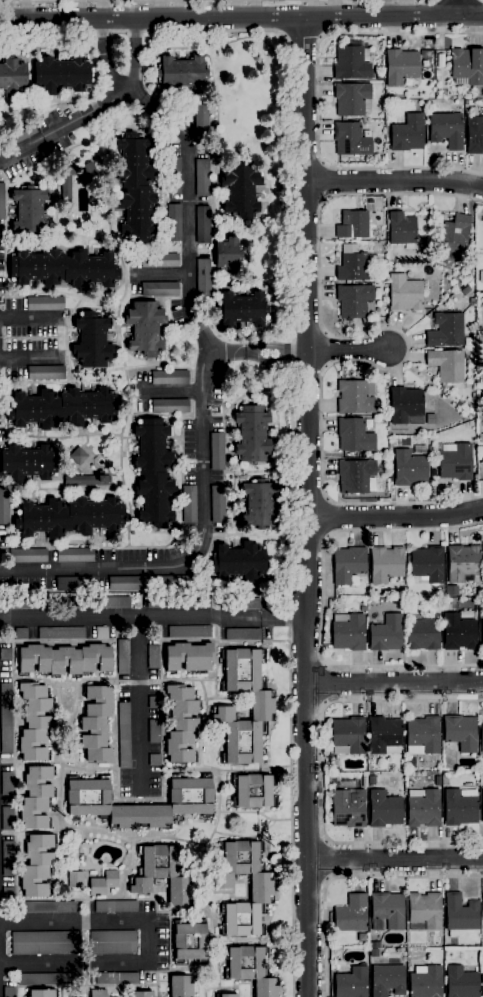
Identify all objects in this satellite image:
road: (160, 0)
road: (458, 7)
road: (241, 17)
road: (303, 43)
road: (68, 49)
road: (109, 58)
road: (135, 58)
building: (351, 64)
building: (401, 66)
building: (467, 66)
road: (145, 69)
building: (181, 73)
building: (437, 73)
road: (31, 75)
building: (61, 75)
building: (13, 77)
building: (380, 77)
road: (121, 97)
building: (352, 99)
road: (316, 100)
road: (62, 102)
building: (467, 102)
building: (201, 119)
building: (446, 130)
road: (50, 133)
building: (17, 134)
building: (407, 134)
building: (474, 135)
building: (71, 137)
building: (351, 140)
road: (76, 145)
road: (304, 159)
building: (89, 172)
building: (173, 176)
building: (202, 178)
road: (394, 181)
road: (327, 182)
building: (66, 184)
road: (54, 186)
building: (135, 187)
building: (241, 190)
road: (307, 198)
building: (2, 201)
building: (29, 211)
road: (106, 211)
building: (174, 223)
building: (202, 225)
building: (353, 225)
building: (482, 225)
road: (245, 229)
building: (401, 229)
building: (453, 235)
road: (146, 250)
building: (228, 255)
building: (159, 260)
building: (353, 267)
building: (465, 268)
building: (64, 269)
building: (480, 276)
building: (203, 277)
building: (160, 289)
building: (465, 291)
building: (404, 293)
road: (85, 297)
building: (353, 301)
building: (45, 304)
building: (241, 309)
road: (26, 318)
building: (145, 328)
building: (446, 330)
road: (225, 334)
building: (92, 341)
road: (407, 347)
road: (347, 350)
road: (232, 351)
road: (284, 351)
road: (202, 352)
road: (27, 357)
building: (446, 365)
building: (345, 371)
road: (69, 372)
building: (46, 373)
road: (293, 373)
building: (170, 377)
road: (125, 396)
building: (355, 397)
road: (236, 402)
building: (405, 404)
building: (170, 406)
building: (61, 408)
building: (471, 410)
building: (252, 434)
building: (354, 435)
road: (71, 437)
building: (481, 439)
road: (225, 443)
building: (217, 451)
building: (78, 456)
building: (455, 462)
building: (28, 463)
building: (409, 469)
road: (241, 471)
building: (153, 473)
building: (356, 476)
building: (87, 480)
road: (88, 490)
road: (310, 499)
building: (189, 504)
building: (217, 504)
building: (259, 504)
building: (4, 506)
road: (310, 507)
road: (284, 514)
road: (332, 516)
building: (69, 517)
road: (396, 517)
road: (233, 520)
road: (128, 527)
road: (256, 535)
road: (309, 541)
building: (74, 555)
building: (28, 556)
building: (238, 562)
building: (462, 563)
building: (348, 564)
building: (386, 564)
building: (427, 564)
road: (63, 566)
building: (126, 583)
building: (173, 583)
building: (74, 584)
building: (158, 602)
building: (198, 602)
road: (320, 602)
building: (101, 603)
building: (19, 604)
building: (242, 604)
road: (142, 619)
road: (296, 619)
road: (217, 629)
building: (189, 632)
building: (348, 632)
building: (61, 633)
building: (102, 633)
building: (423, 633)
building: (458, 633)
building: (482, 633)
building: (21, 634)
building: (242, 634)
building: (386, 634)
road: (139, 639)
road: (253, 641)
building: (5, 655)
building: (123, 657)
building: (153, 657)
building: (188, 657)
building: (64, 659)
road: (305, 661)
road: (208, 681)
road: (394, 684)
road: (230, 701)
building: (153, 702)
road: (307, 703)
road: (140, 705)
building: (262, 710)
building: (5, 718)
building: (34, 722)
building: (181, 724)
building: (97, 725)
road: (70, 726)
building: (154, 731)
building: (461, 732)
building: (422, 735)
building: (124, 736)
building: (348, 736)
building: (384, 736)
building: (481, 736)
road: (200, 750)
building: (154, 760)
road: (100, 768)
road: (262, 770)
road: (322, 772)
building: (438, 780)
building: (364, 782)
building: (7, 784)
building: (253, 791)
building: (88, 797)
building: (36, 798)
road: (57, 802)
building: (482, 806)
building: (459, 807)
building: (423, 808)
building: (348, 809)
building: (384, 809)
road: (247, 812)
building: (7, 819)
road: (104, 830)
road: (261, 833)
road: (309, 843)
building: (8, 858)
road: (395, 861)
building: (37, 866)
road: (109, 869)
building: (162, 875)
road: (346, 877)
road: (310, 878)
building: (75, 880)
road: (123, 881)
building: (103, 883)
building: (261, 889)
road: (227, 894)
building: (8, 895)
building: (48, 907)
building: (116, 907)
building: (482, 910)
building: (387, 911)
building: (424, 911)
road: (181, 913)
building: (460, 914)
building: (351, 915)
road: (260, 941)
building: (190, 942)
building: (43, 943)
building: (113, 943)
road: (158, 943)
building: (374, 945)
building: (374, 953)
road: (0, 961)
building: (250, 969)
road: (186, 971)
building: (47, 979)
building: (116, 979)
road: (127, 980)
building: (387, 980)
building: (482, 980)
road: (61, 981)
building: (425, 982)
building: (351, 983)
building: (461, 983)
building: (181, 986)
building: (9, 992)
building: (40, 993)
building: (98, 993)
building: (141, 994)
building: (226, 995)

